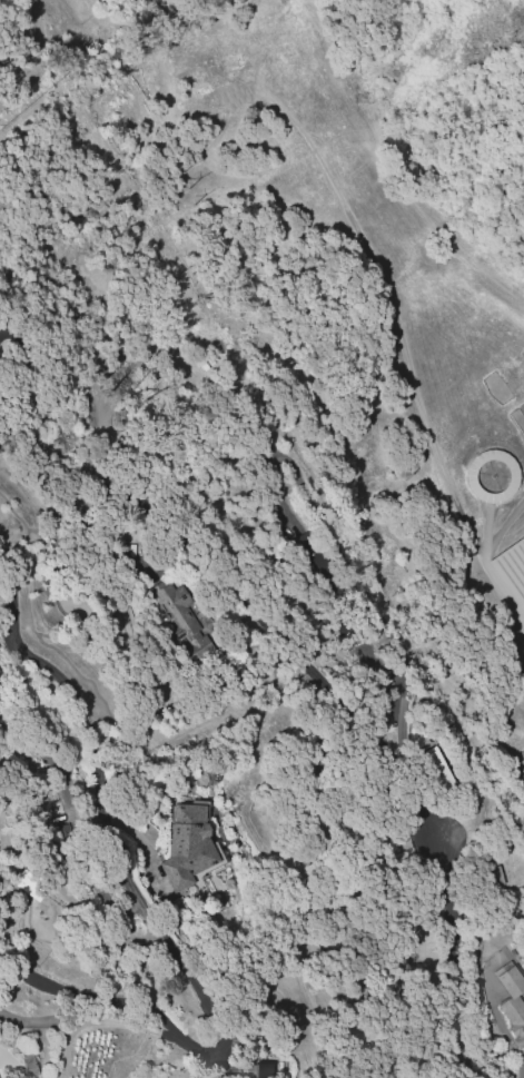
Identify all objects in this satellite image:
road: (36, 50)
building: (491, 474)
building: (310, 557)
building: (511, 568)
park: (511, 568)
building: (181, 612)
road: (515, 613)
road: (320, 681)
building: (434, 768)
building: (191, 847)
building: (26, 882)
road: (150, 917)
building: (514, 1001)
road: (33, 1020)
road: (126, 1023)
road: (65, 1049)
road: (10, 1066)
building: (264, 1070)
building: (0, 1077)

